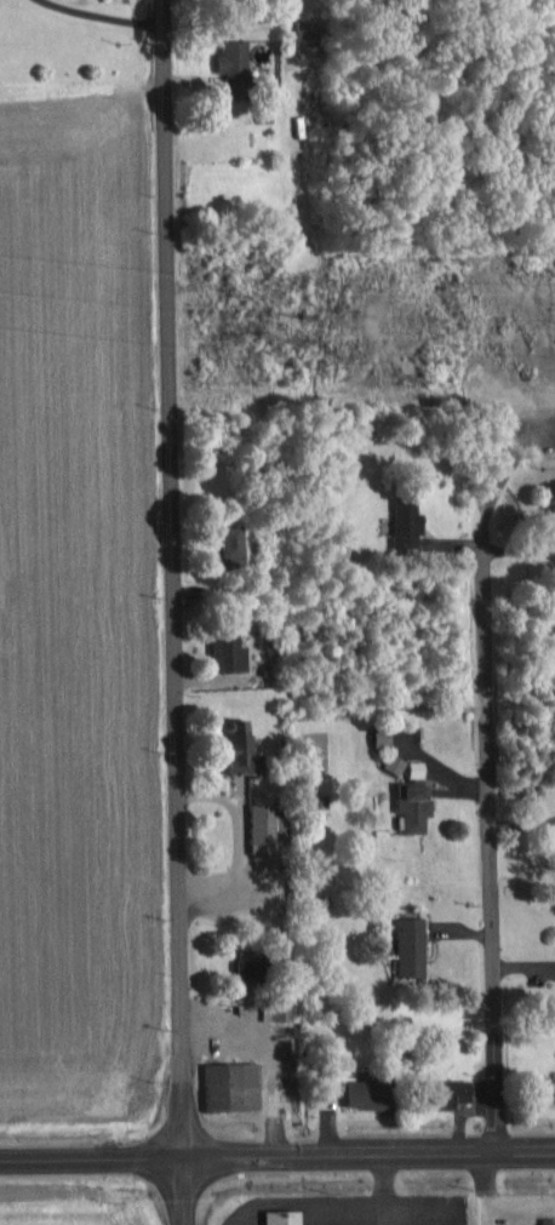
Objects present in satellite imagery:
building: (230, 64)
power tower: (286, 316)
building: (402, 522)
building: (230, 540)
road: (177, 612)
building: (225, 652)
building: (378, 738)
building: (234, 745)
building: (391, 763)
building: (411, 807)
building: (259, 823)
road: (490, 854)
building: (407, 946)
building: (229, 1086)
building: (545, 1089)
building: (446, 1092)
building: (362, 1094)
road: (277, 1161)
building: (279, 1218)
building: (547, 1221)

